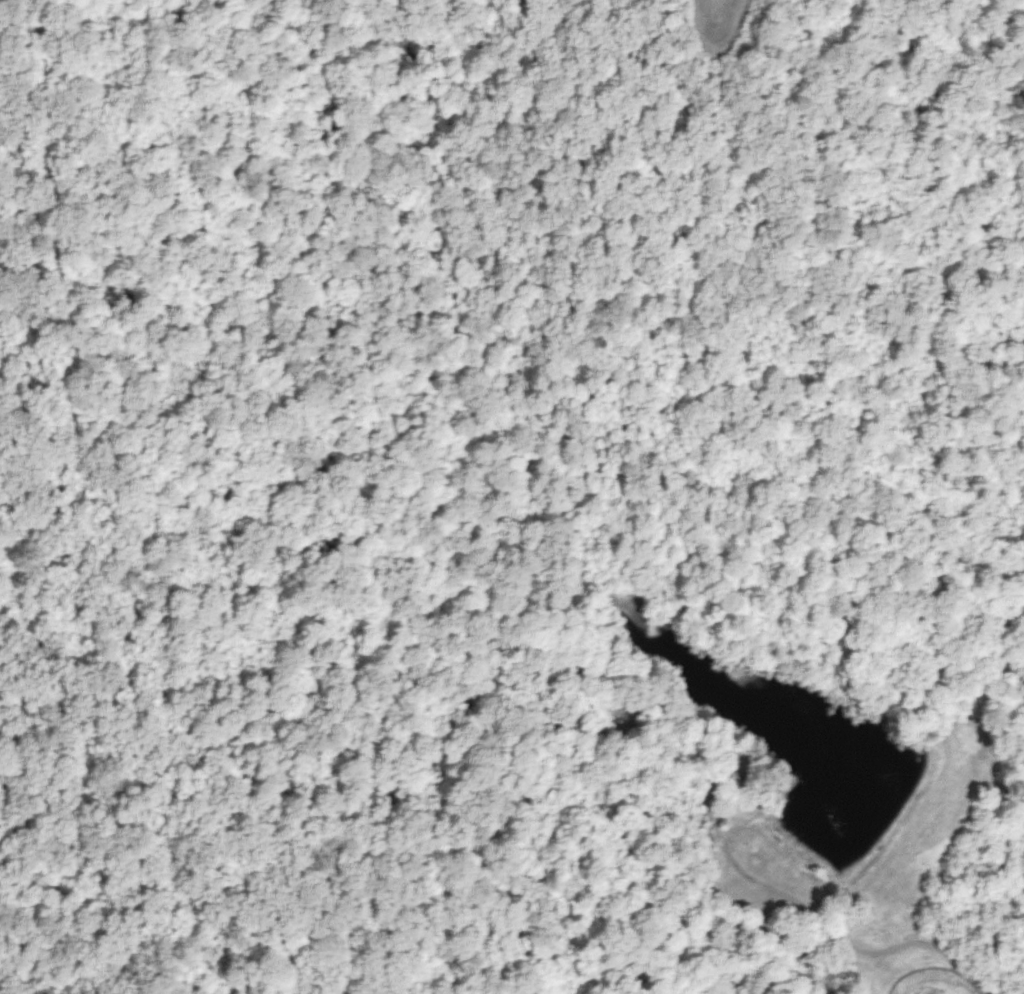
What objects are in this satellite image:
road: (829, 932)

